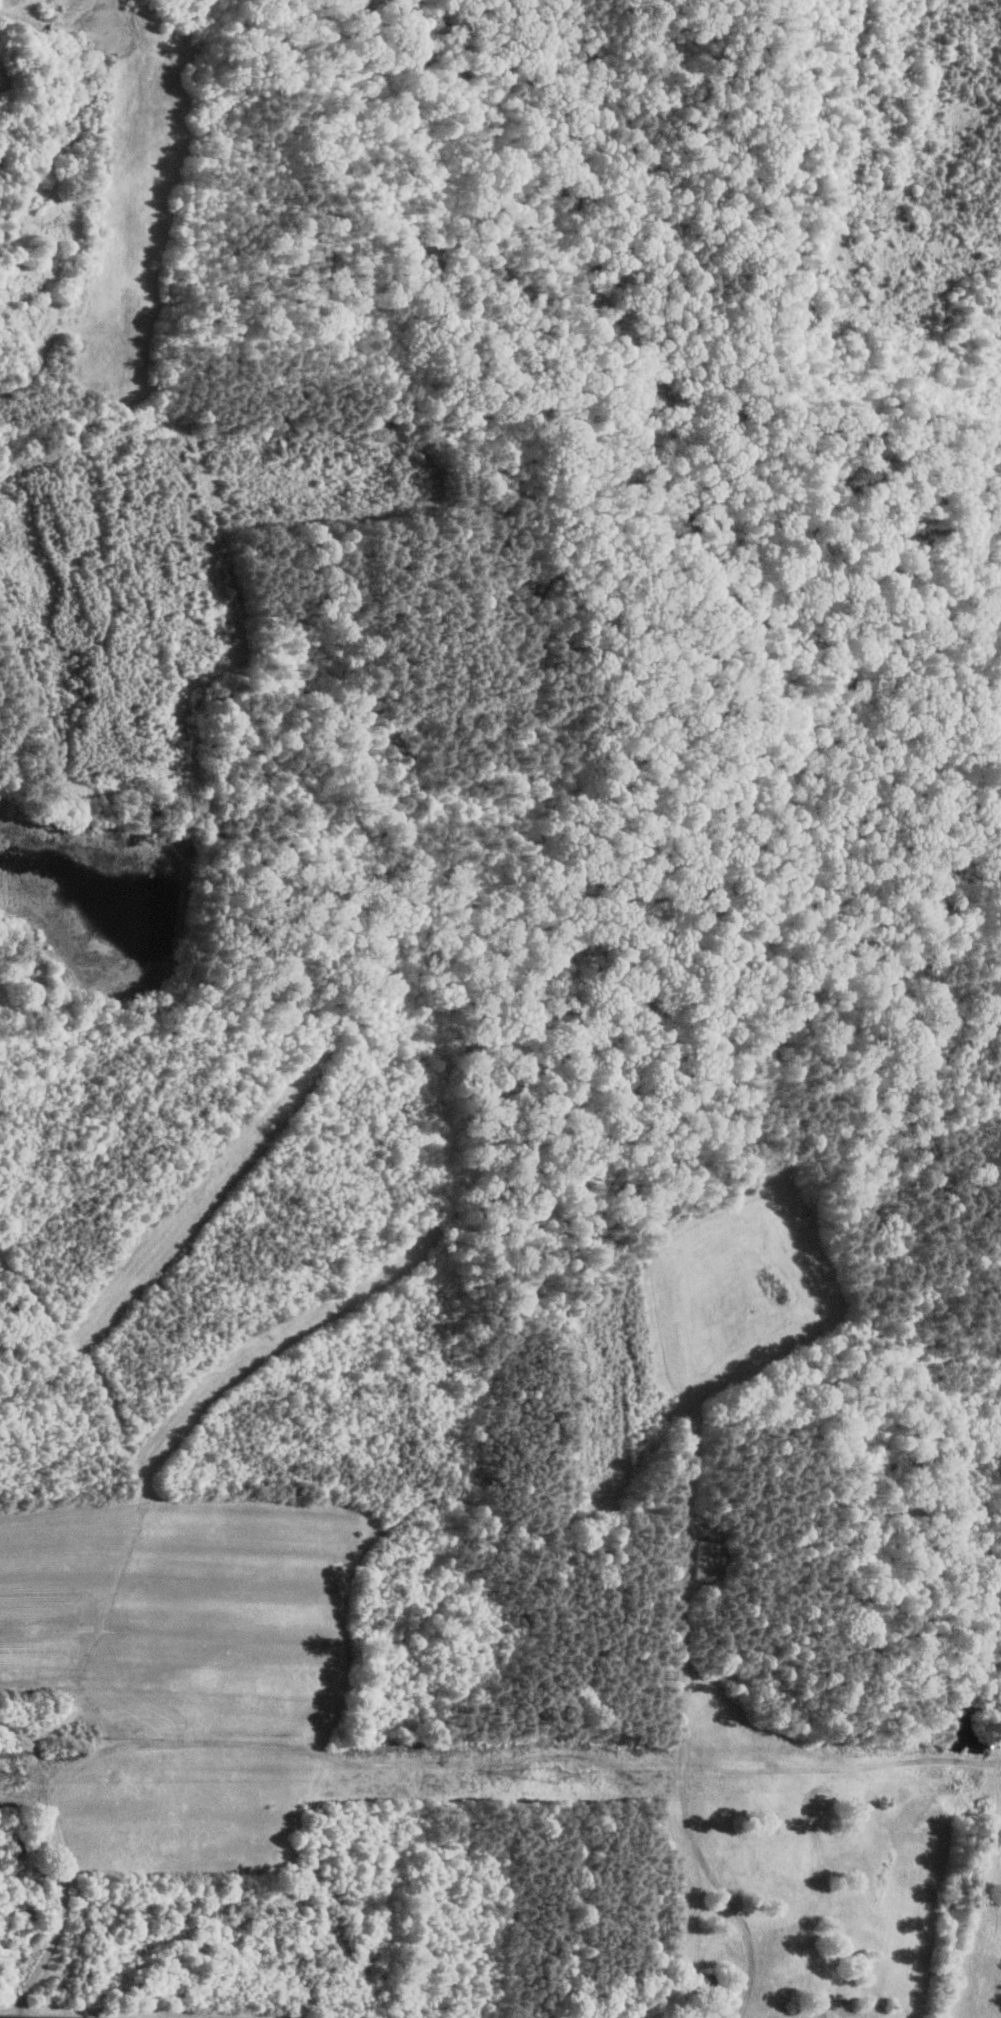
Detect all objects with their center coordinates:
building: (704, 1559)
power tower: (584, 1775)
power tower: (116, 1779)

